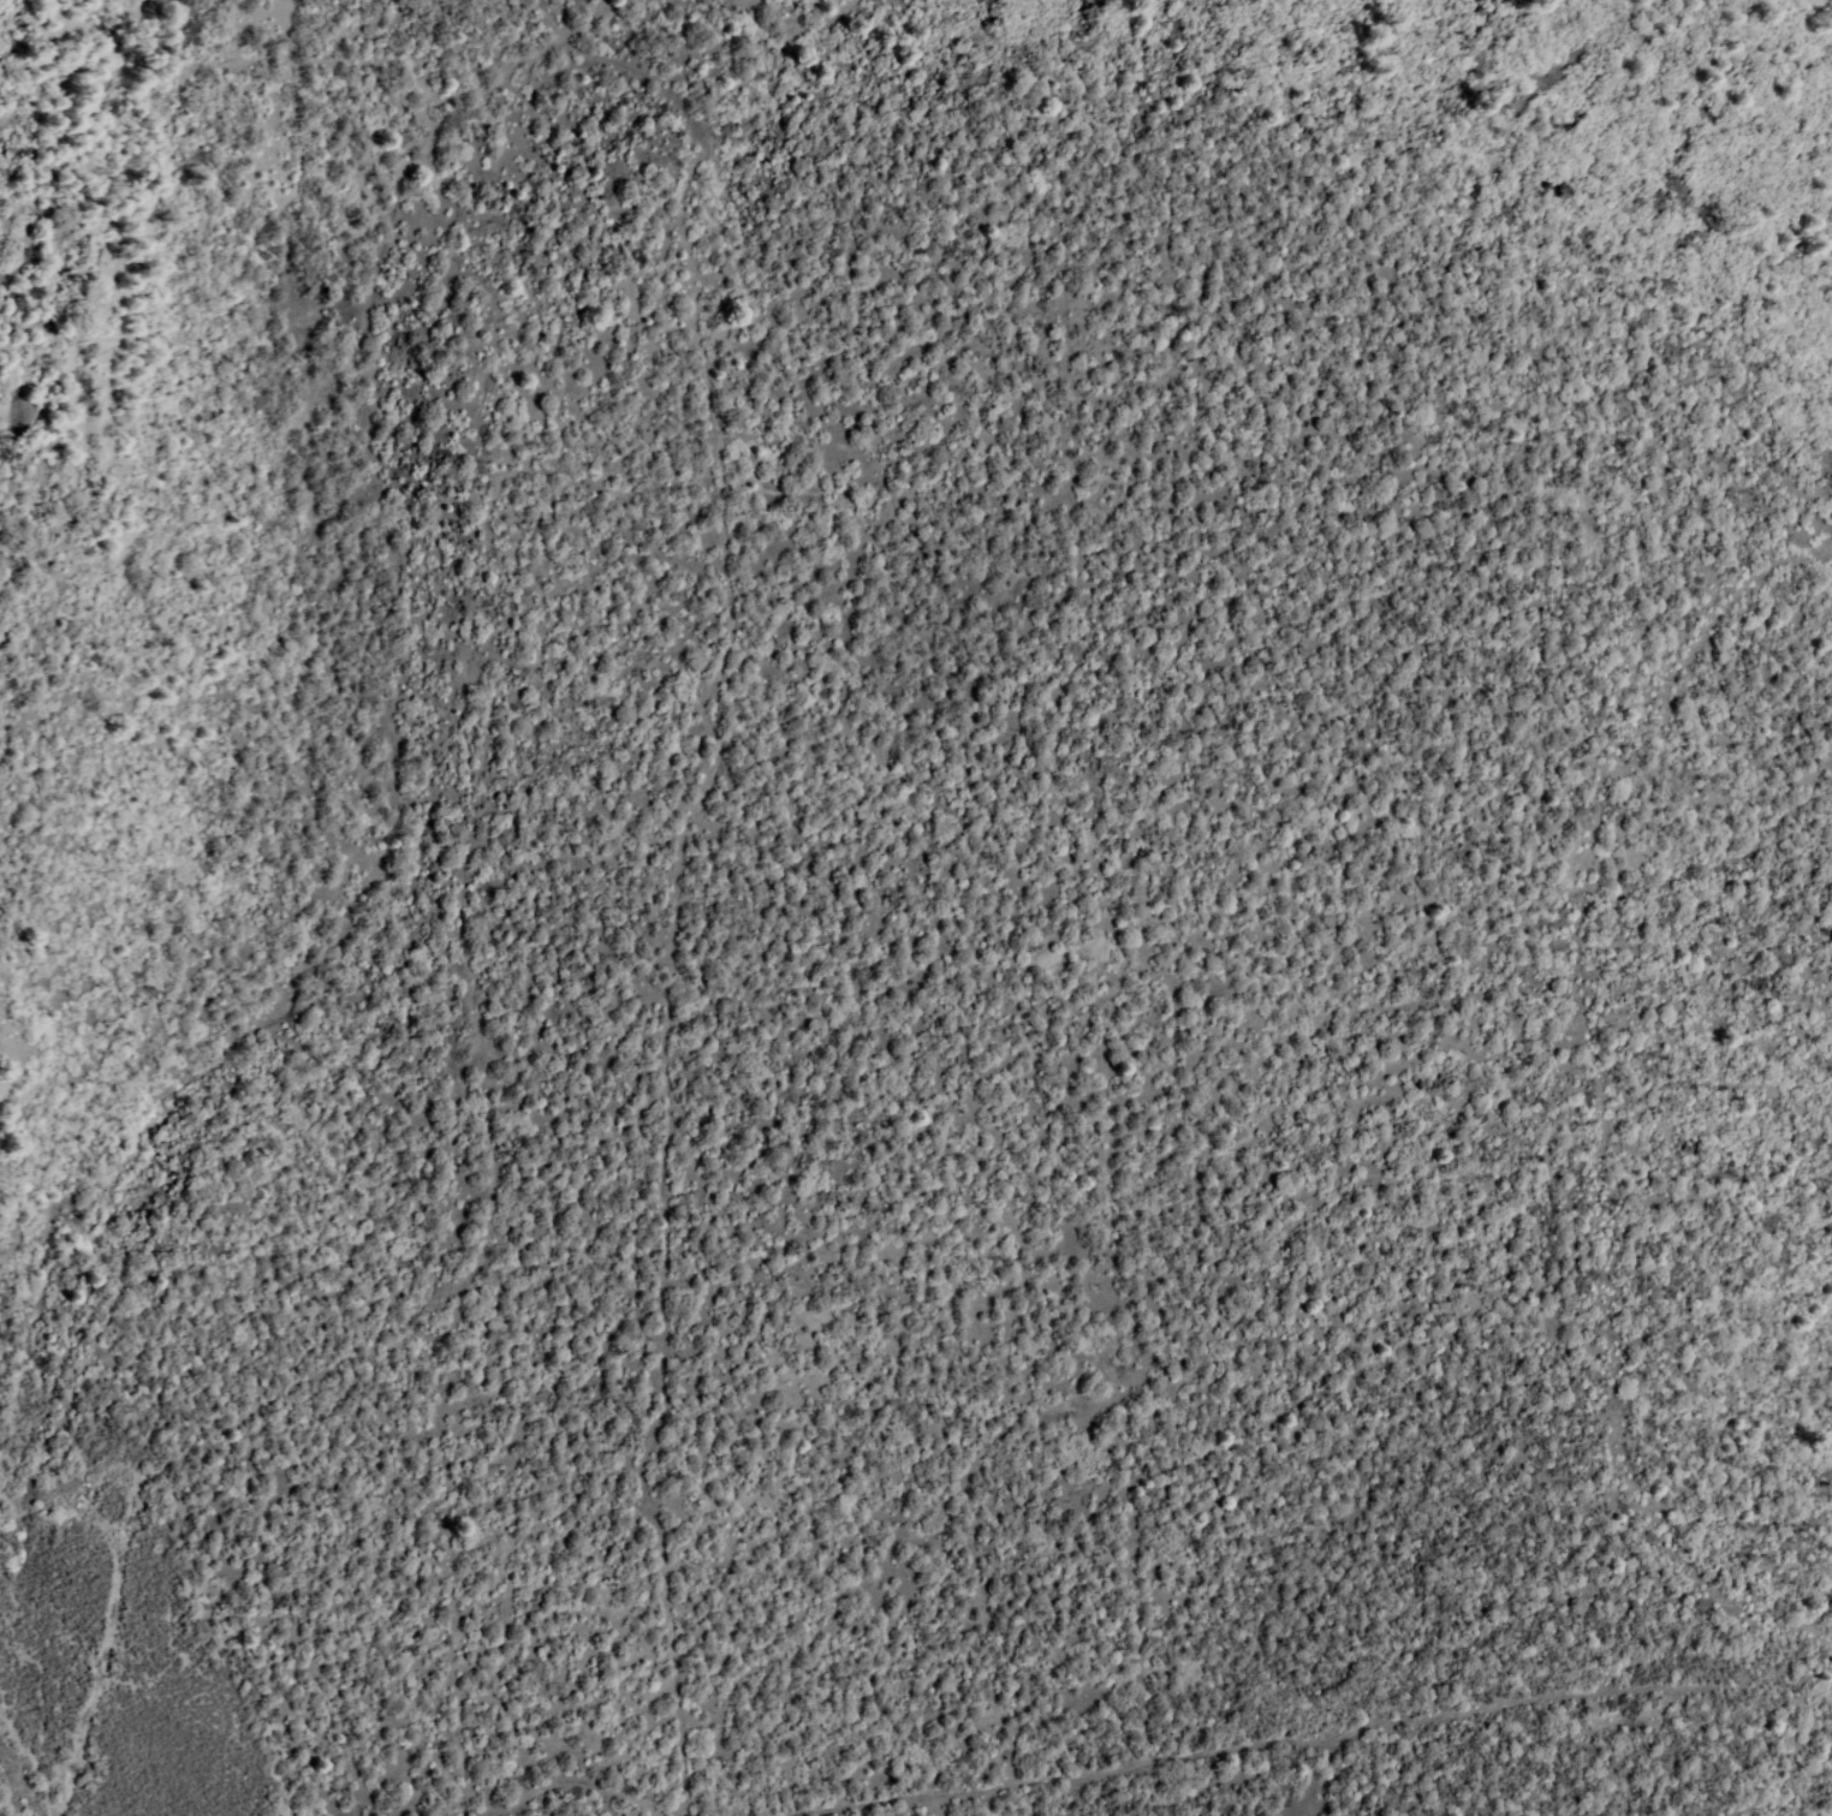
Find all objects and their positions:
road: (29, 18)

